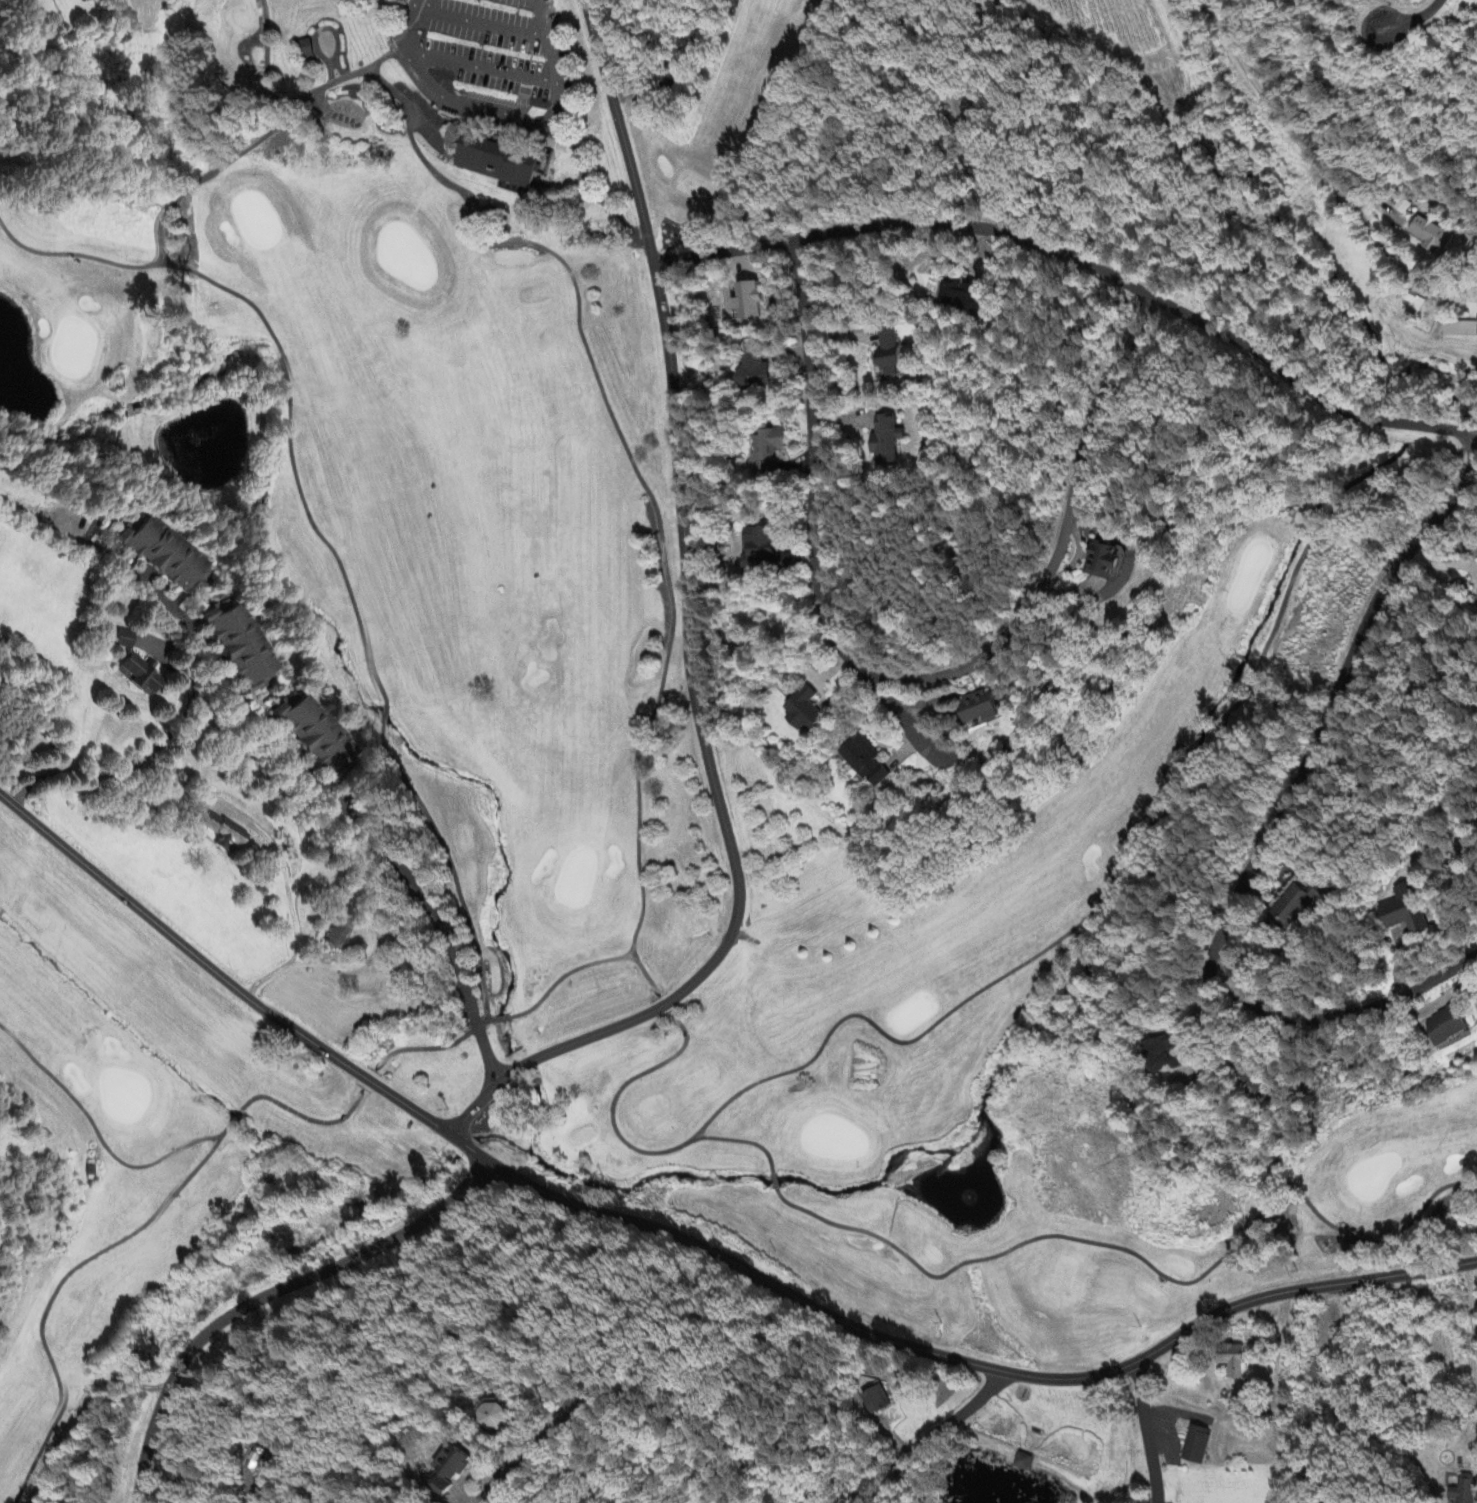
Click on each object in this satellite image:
road: (1412, 21)
road: (478, 26)
building: (307, 49)
parking lot: (485, 58)
road: (493, 72)
building: (512, 112)
road: (1287, 134)
building: (501, 158)
road: (981, 180)
building: (1431, 236)
road: (1078, 267)
building: (962, 299)
building: (1409, 299)
building: (749, 302)
building: (1459, 330)
building: (893, 355)
building: (755, 371)
building: (888, 441)
building: (767, 552)
building: (166, 555)
building: (1107, 561)
building: (127, 640)
road: (683, 640)
building: (243, 647)
building: (142, 675)
road: (901, 678)
building: (982, 708)
building: (806, 712)
road: (904, 714)
building: (317, 737)
park: (683, 778)
road: (310, 782)
road: (1273, 823)
building: (226, 833)
building: (1303, 903)
building: (1409, 912)
building: (339, 936)
road: (1210, 1016)
building: (1449, 1027)
building: (1167, 1056)
road: (690, 1245)
road: (267, 1294)
building: (1235, 1361)
road: (1472, 1363)
building: (1314, 1380)
building: (876, 1400)
building: (494, 1417)
road: (1144, 1432)
road: (933, 1436)
building: (1197, 1446)
road: (529, 1449)
building: (257, 1460)
building: (1025, 1463)
building: (451, 1471)
building: (1461, 1491)

